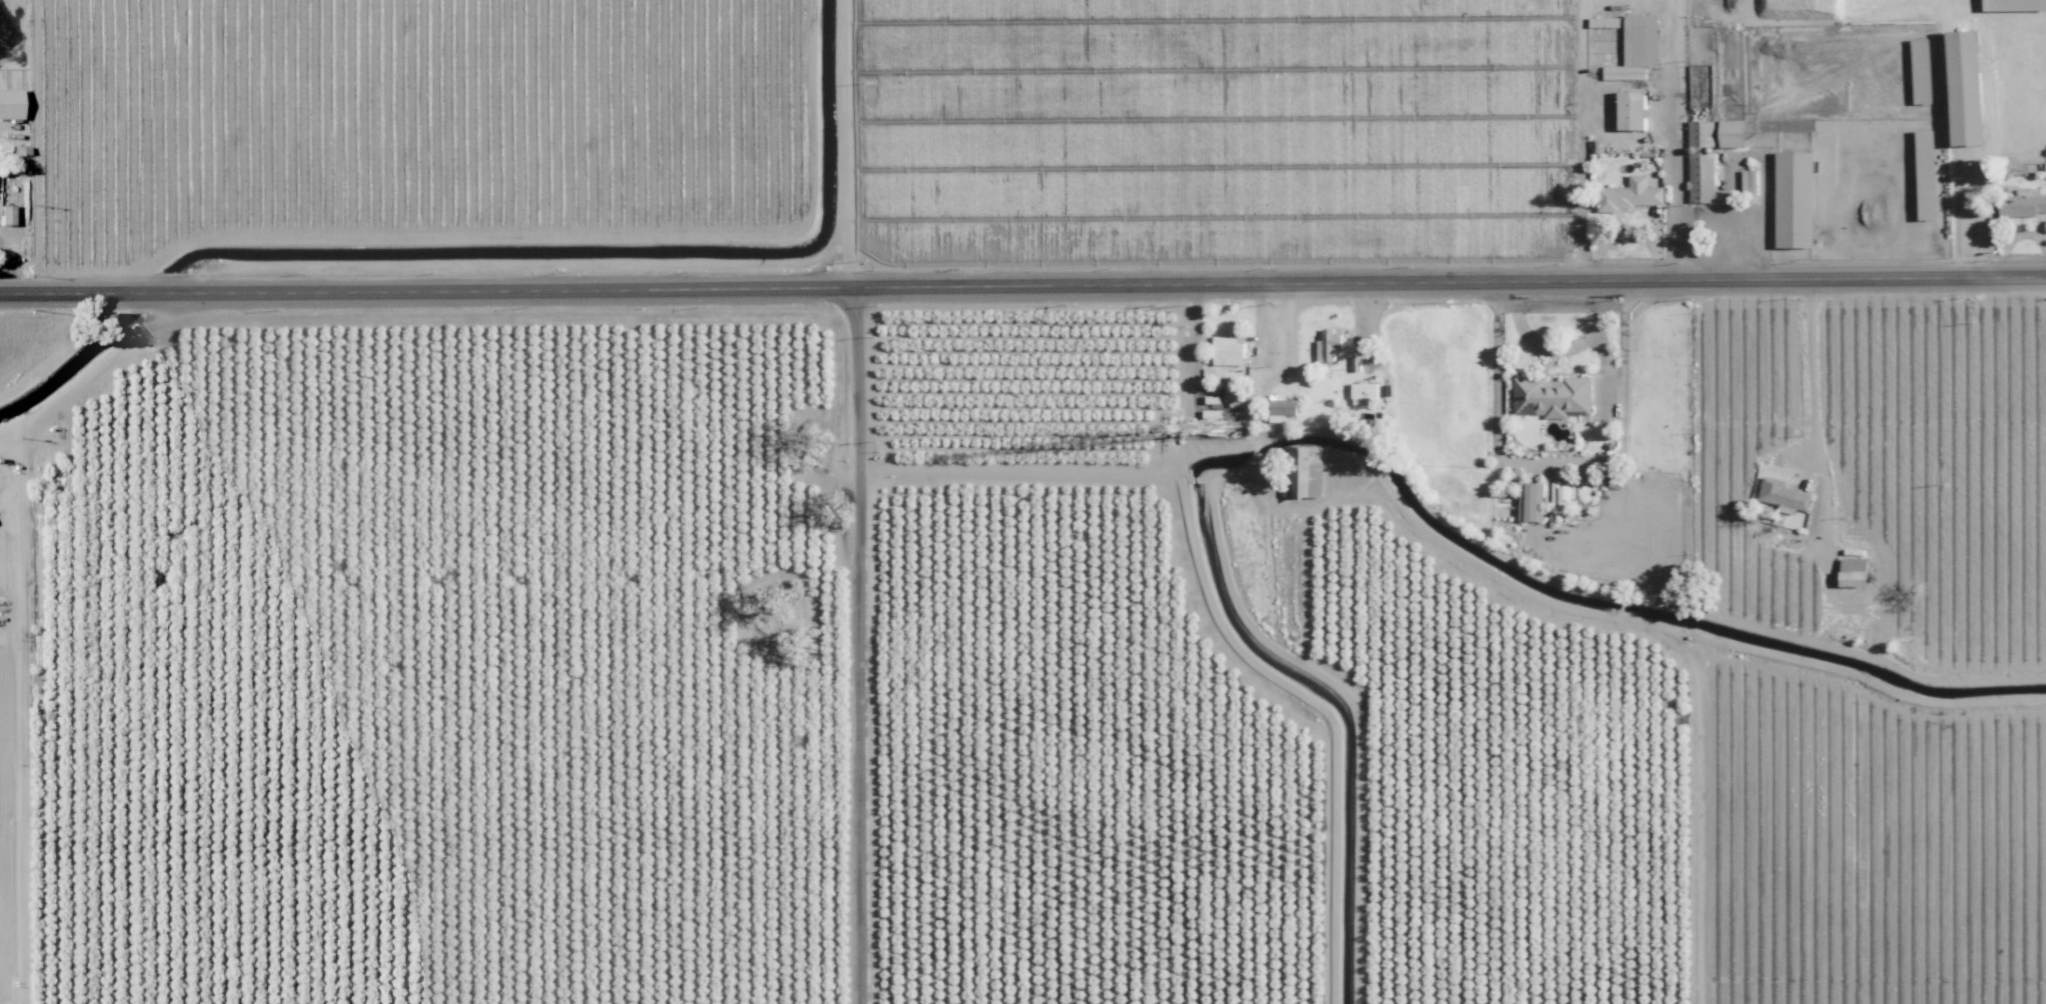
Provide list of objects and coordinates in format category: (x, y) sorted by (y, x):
building: (1635, 48)
building: (1920, 71)
building: (1964, 86)
building: (8, 104)
building: (1629, 112)
crop: (1451, 125)
building: (1730, 133)
road: (1579, 134)
road: (1673, 134)
road: (846, 138)
building: (1699, 162)
building: (2045, 176)
building: (1748, 182)
building: (1630, 194)
building: (1793, 200)
building: (2021, 204)
road: (1974, 215)
road: (1023, 274)
road: (1369, 318)
road: (1275, 328)
road: (1530, 340)
road: (1602, 340)
building: (1327, 345)
building: (1225, 350)
road: (1810, 363)
road: (1267, 378)
building: (1361, 391)
building: (1549, 396)
building: (1279, 407)
building: (1530, 487)
road: (850, 640)
crop: (1281, 645)
crop: (420, 653)

